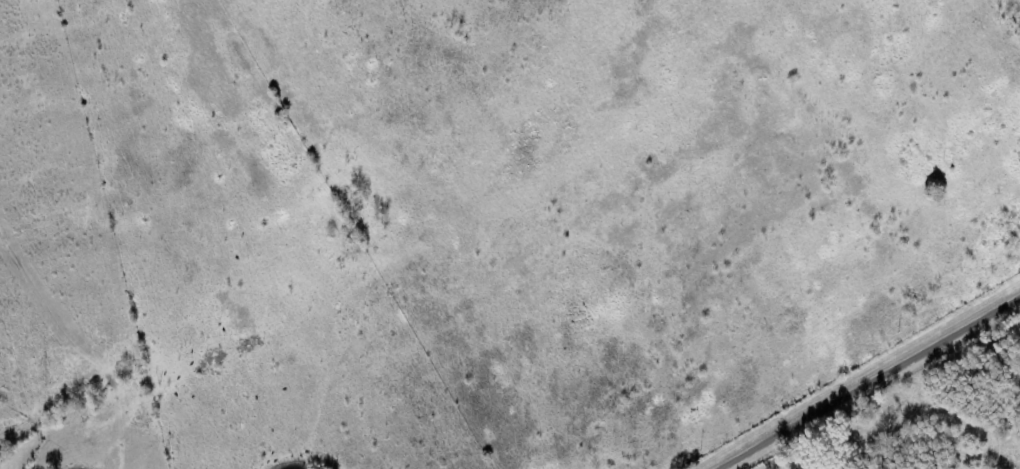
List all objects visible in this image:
road: (874, 386)

